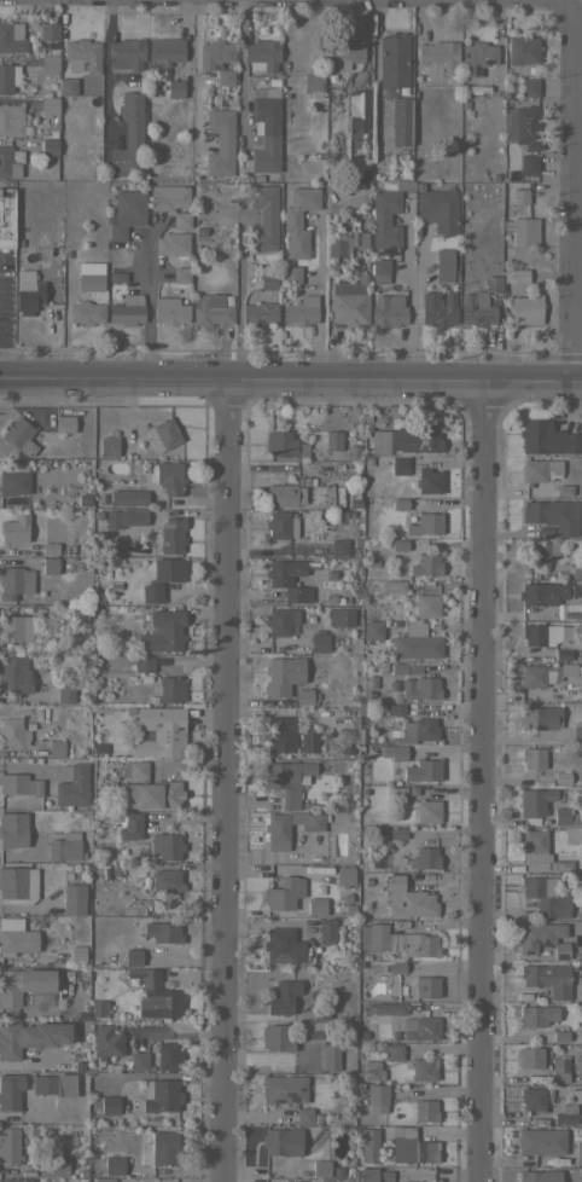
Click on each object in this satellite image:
building: (48, 30)
building: (11, 36)
building: (522, 48)
building: (164, 50)
building: (124, 53)
building: (214, 53)
building: (343, 53)
building: (438, 53)
building: (261, 54)
building: (81, 56)
building: (476, 57)
building: (392, 60)
building: (48, 62)
road: (103, 66)
road: (241, 71)
building: (7, 76)
building: (225, 76)
road: (194, 77)
building: (312, 82)
building: (66, 86)
building: (528, 87)
building: (174, 88)
building: (50, 106)
building: (359, 109)
building: (12, 120)
building: (400, 121)
building: (526, 127)
building: (128, 135)
building: (263, 135)
building: (220, 141)
building: (48, 146)
building: (10, 162)
building: (526, 163)
road: (569, 185)
building: (168, 196)
building: (519, 196)
building: (437, 209)
building: (126, 212)
building: (385, 215)
building: (263, 218)
building: (6, 219)
building: (180, 219)
building: (298, 220)
building: (523, 231)
building: (170, 243)
building: (338, 245)
building: (443, 265)
building: (380, 266)
road: (141, 271)
building: (180, 274)
building: (291, 274)
building: (89, 276)
building: (514, 276)
building: (267, 280)
building: (27, 291)
road: (237, 291)
road: (319, 297)
building: (349, 300)
road: (147, 303)
building: (479, 303)
road: (411, 306)
building: (211, 308)
building: (437, 308)
building: (127, 309)
building: (388, 309)
building: (525, 309)
building: (169, 311)
building: (301, 311)
building: (86, 312)
building: (258, 313)
road: (290, 381)
building: (64, 423)
building: (162, 434)
building: (18, 435)
building: (543, 436)
building: (332, 440)
building: (403, 441)
building: (279, 444)
building: (107, 446)
building: (398, 467)
building: (539, 470)
building: (164, 476)
building: (429, 481)
building: (13, 482)
building: (563, 489)
building: (284, 492)
building: (128, 497)
building: (398, 503)
building: (549, 516)
building: (124, 517)
building: (424, 523)
building: (280, 525)
building: (13, 528)
building: (171, 534)
building: (397, 544)
building: (48, 547)
building: (333, 547)
building: (540, 551)
building: (48, 566)
building: (425, 566)
building: (576, 572)
building: (162, 578)
building: (287, 579)
building: (14, 581)
building: (391, 586)
building: (540, 593)
building: (425, 606)
building: (580, 609)
building: (339, 616)
building: (279, 620)
building: (14, 628)
building: (371, 630)
building: (162, 631)
building: (540, 635)
building: (318, 642)
building: (415, 642)
building: (142, 664)
building: (566, 670)
building: (14, 674)
building: (281, 674)
building: (534, 676)
building: (419, 688)
building: (170, 689)
building: (66, 693)
building: (561, 695)
building: (304, 696)
building: (394, 709)
building: (539, 717)
building: (13, 730)
building: (414, 730)
building: (576, 730)
building: (157, 732)
building: (279, 741)
building: (307, 741)
building: (54, 748)
building: (394, 752)
building: (532, 758)
building: (134, 769)
building: (423, 770)
building: (286, 780)
road: (226, 781)
road: (478, 782)
building: (19, 783)
building: (72, 786)
building: (150, 793)
building: (535, 800)
building: (427, 810)
building: (561, 816)
building: (132, 825)
building: (12, 829)
building: (277, 830)
building: (398, 833)
building: (165, 845)
building: (66, 846)
building: (541, 853)
building: (425, 857)
building: (344, 875)
building: (167, 879)
building: (17, 883)
building: (281, 894)
building: (545, 897)
building: (74, 898)
building: (408, 898)
building: (316, 906)
building: (163, 931)
building: (326, 931)
building: (16, 935)
building: (541, 938)
building: (397, 940)
building: (283, 945)
building: (77, 954)
building: (133, 956)
building: (548, 978)
building: (24, 983)
building: (427, 986)
building: (156, 995)
building: (281, 996)
building: (99, 1008)
building: (384, 1008)
building: (320, 1010)
building: (537, 1015)
building: (421, 1027)
road: (177, 1032)
building: (277, 1037)
building: (559, 1037)
building: (107, 1041)
building: (10, 1044)
building: (390, 1051)
building: (168, 1055)
building: (331, 1056)
building: (530, 1056)
building: (140, 1060)
building: (424, 1068)
building: (369, 1071)
building: (558, 1077)
building: (54, 1084)
building: (284, 1088)
building: (10, 1090)
building: (377, 1094)
building: (161, 1095)
building: (532, 1097)
building: (110, 1103)
building: (425, 1109)
building: (566, 1114)
building: (304, 1116)
building: (283, 1141)
building: (541, 1141)
building: (11, 1142)
building: (368, 1143)
building: (161, 1147)
building: (412, 1147)
building: (578, 1153)
building: (114, 1161)
building: (52, 1165)
building: (321, 1167)
building: (367, 1174)
building: (539, 1176)
building: (17, 1180)
building: (107, 1180)
building: (150, 1180)
building: (413, 1181)

